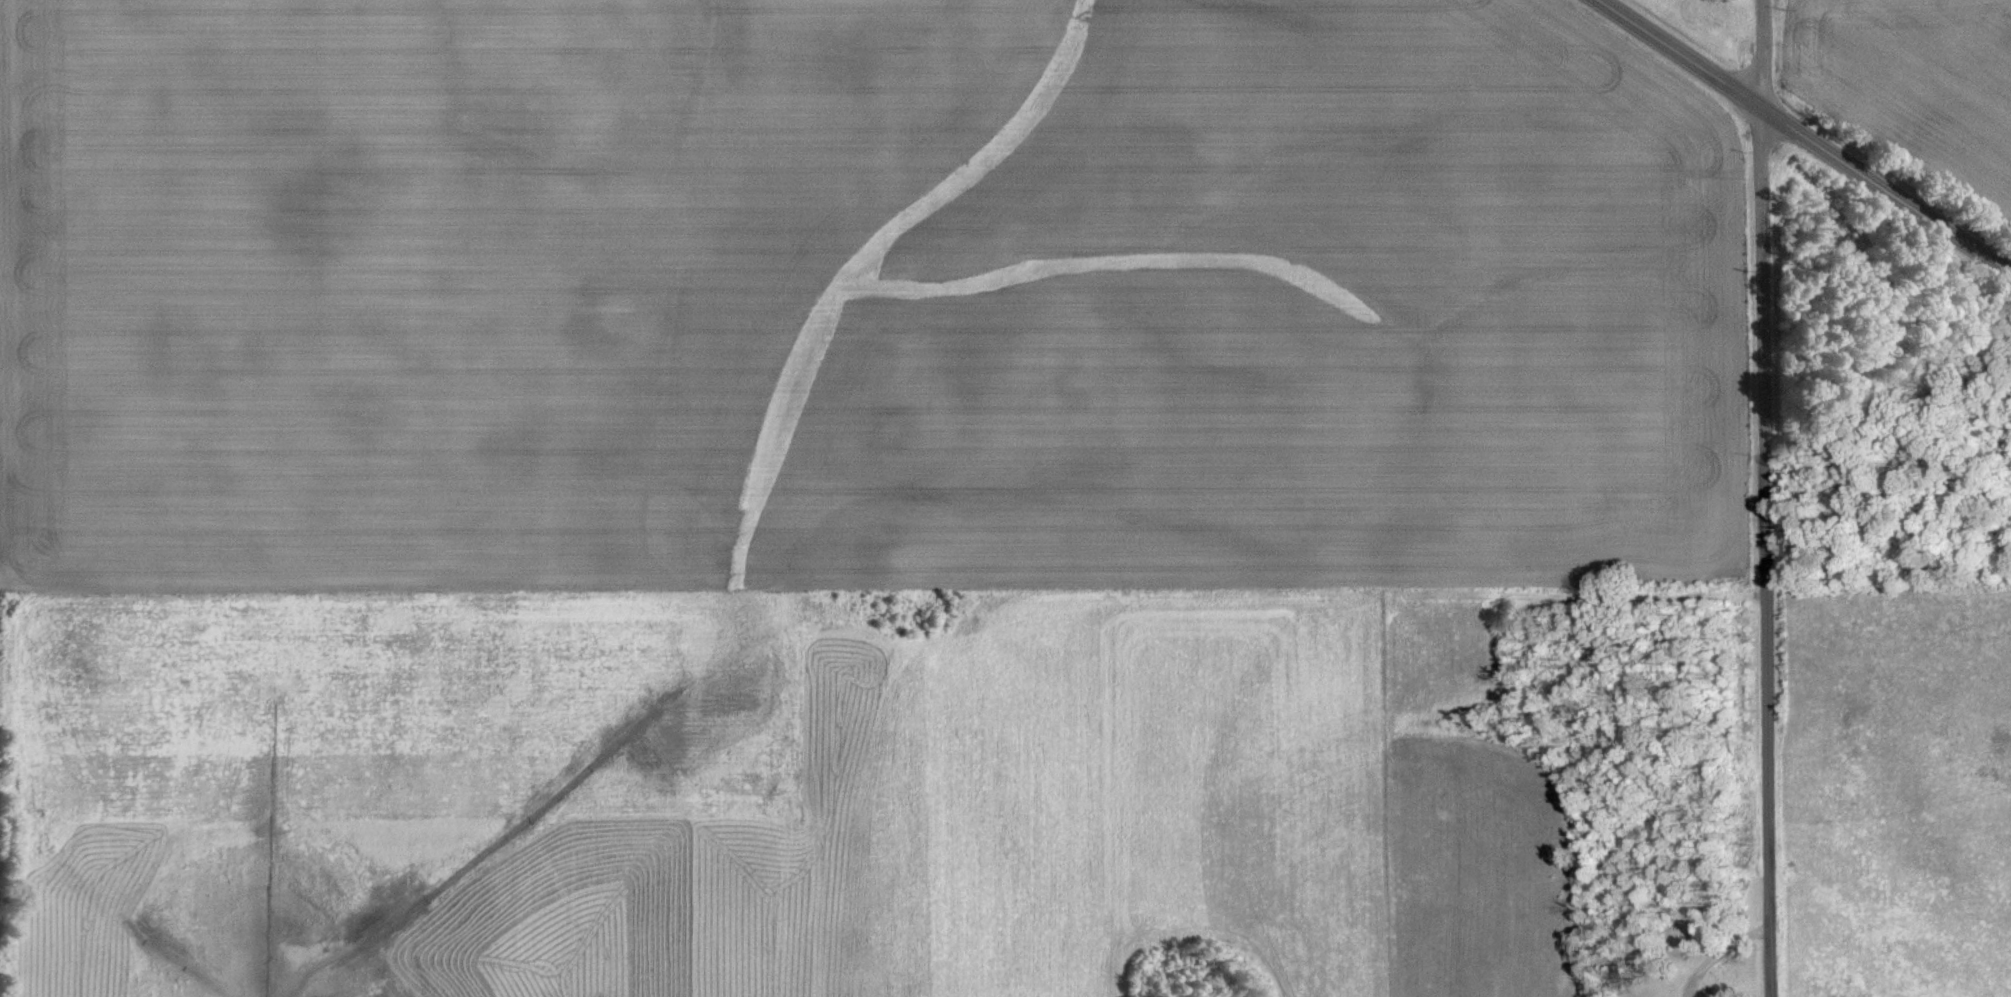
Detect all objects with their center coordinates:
road: (1803, 137)
road: (1760, 498)
road: (1719, 958)

